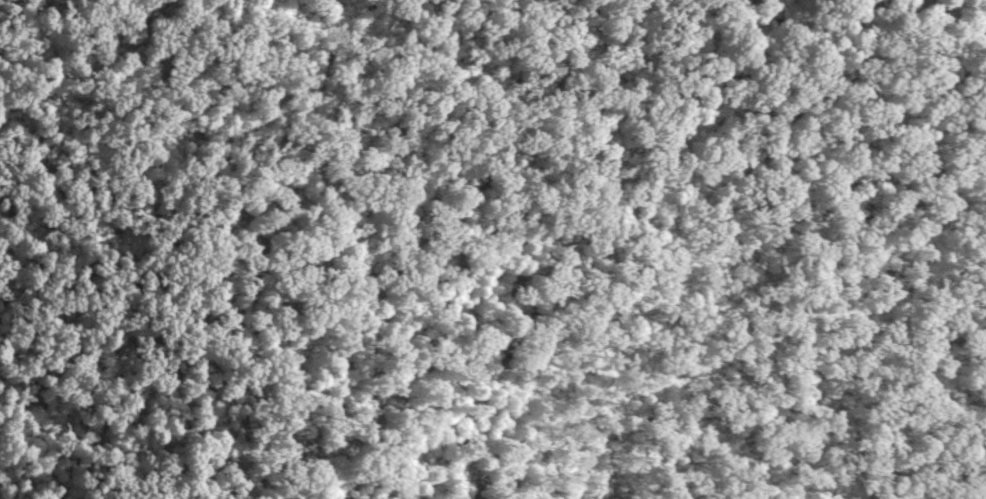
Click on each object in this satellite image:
road: (210, 331)

